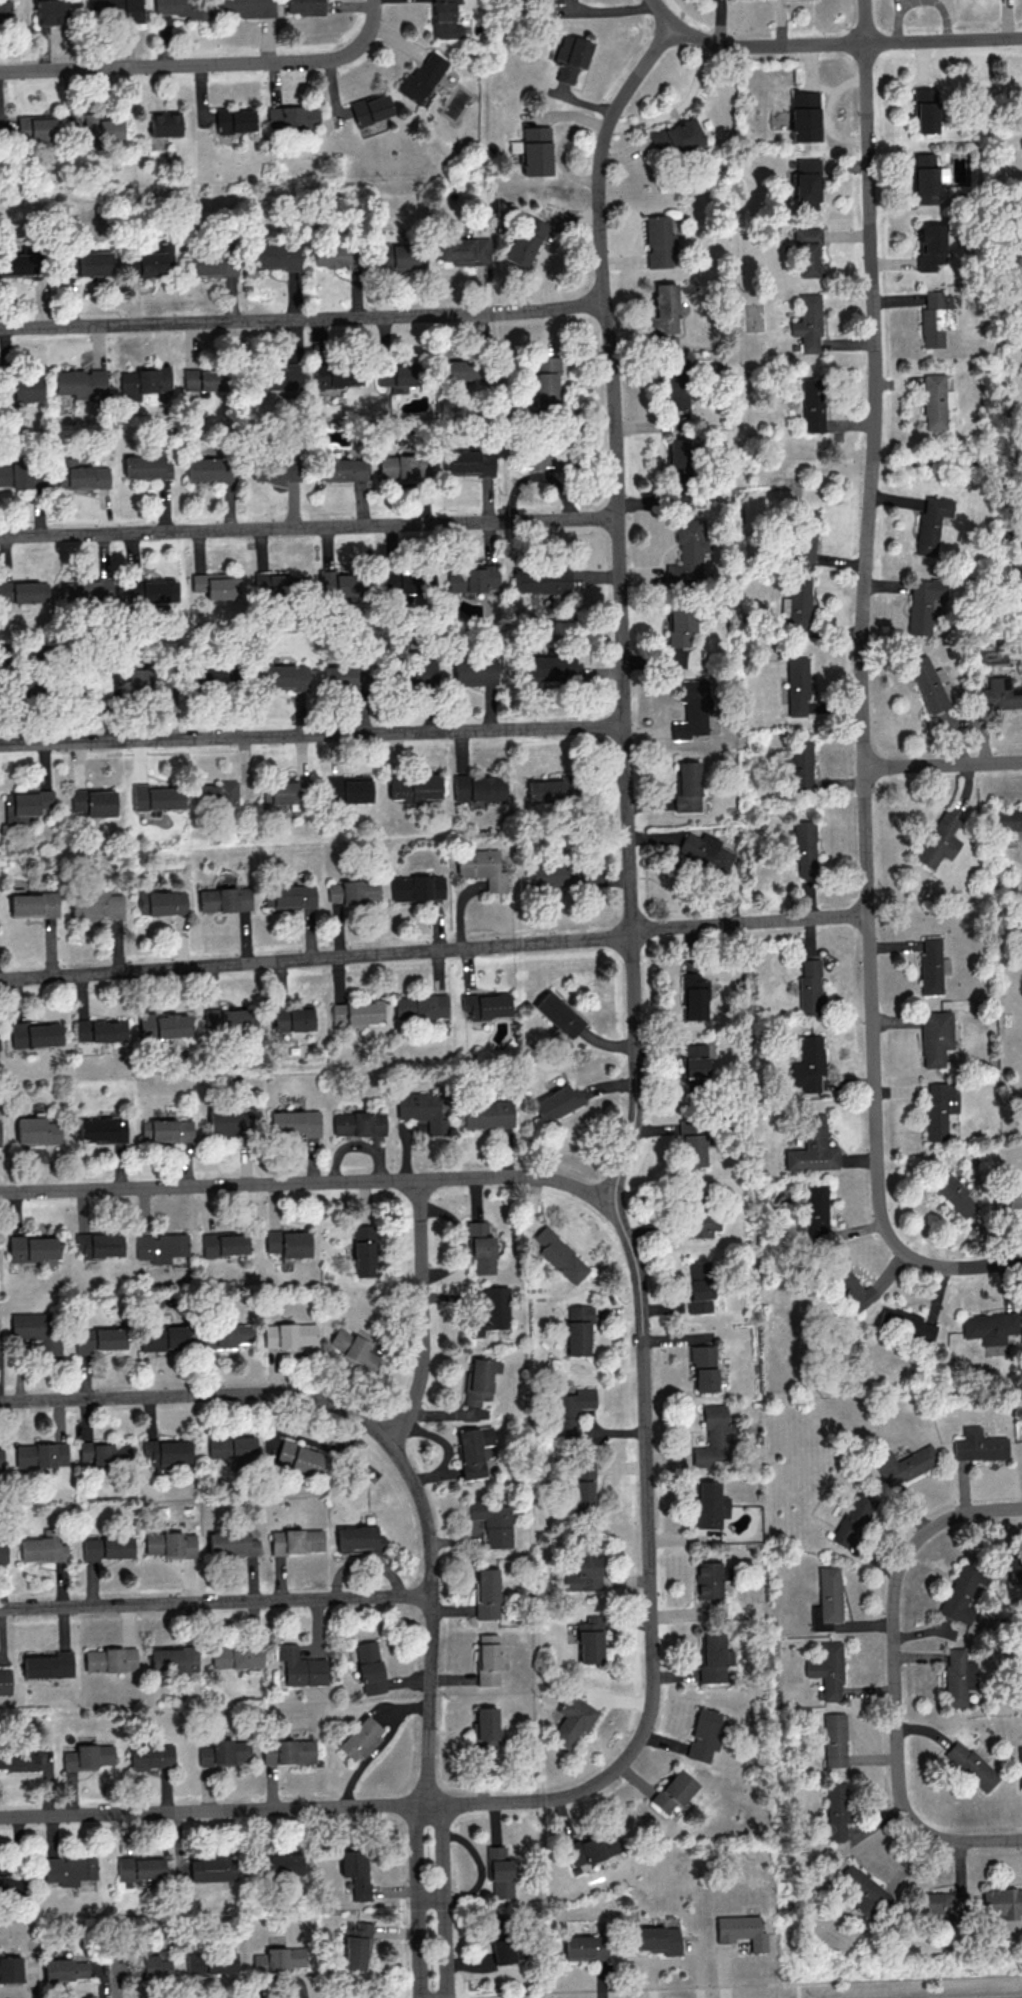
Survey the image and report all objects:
building: (304, 6)
building: (181, 8)
building: (246, 8)
building: (5, 9)
building: (116, 10)
building: (50, 12)
road: (662, 14)
building: (444, 20)
road: (847, 45)
building: (570, 57)
road: (206, 64)
building: (422, 76)
road: (678, 107)
building: (370, 108)
building: (925, 110)
building: (292, 116)
building: (803, 116)
building: (234, 120)
building: (164, 123)
building: (35, 127)
building: (101, 128)
building: (678, 136)
building: (926, 178)
building: (806, 183)
building: (524, 240)
building: (658, 242)
building: (929, 246)
building: (464, 250)
building: (806, 251)
building: (275, 256)
building: (334, 256)
building: (401, 257)
building: (152, 260)
building: (18, 263)
building: (87, 263)
building: (213, 263)
building: (664, 309)
building: (935, 318)
road: (303, 320)
building: (807, 322)
building: (454, 370)
building: (337, 375)
building: (398, 376)
building: (278, 377)
building: (203, 379)
building: (546, 379)
building: (80, 382)
building: (143, 382)
building: (676, 386)
building: (27, 388)
building: (935, 401)
building: (813, 404)
building: (678, 454)
building: (534, 457)
building: (468, 462)
building: (146, 466)
building: (405, 467)
building: (209, 468)
building: (344, 468)
building: (269, 469)
building: (83, 474)
building: (21, 475)
building: (931, 523)
road: (308, 527)
building: (804, 538)
building: (688, 548)
building: (473, 578)
building: (542, 580)
building: (277, 581)
building: (342, 583)
building: (407, 583)
building: (217, 585)
building: (149, 589)
building: (86, 590)
building: (24, 591)
building: (923, 604)
road: (621, 605)
building: (797, 607)
building: (681, 627)
building: (551, 667)
building: (475, 671)
building: (210, 672)
building: (418, 673)
building: (340, 674)
building: (284, 676)
building: (87, 679)
building: (140, 679)
building: (928, 683)
building: (797, 686)
road: (862, 690)
building: (999, 693)
building: (691, 710)
road: (313, 734)
building: (799, 765)
road: (943, 765)
building: (415, 787)
building: (477, 787)
building: (687, 787)
building: (350, 788)
building: (544, 790)
building: (217, 794)
building: (287, 795)
building: (156, 797)
building: (93, 802)
building: (26, 804)
building: (1007, 819)
building: (939, 840)
building: (804, 850)
building: (705, 851)
building: (482, 867)
building: (547, 874)
building: (417, 887)
building: (353, 890)
building: (294, 896)
building: (223, 899)
building: (165, 903)
building: (33, 904)
building: (95, 905)
road: (434, 950)
building: (930, 964)
building: (809, 986)
building: (694, 997)
building: (486, 1005)
building: (420, 1006)
building: (357, 1011)
building: (558, 1014)
building: (293, 1018)
building: (228, 1019)
building: (162, 1025)
building: (100, 1030)
building: (34, 1034)
building: (935, 1037)
building: (693, 1060)
building: (809, 1064)
building: (557, 1102)
building: (938, 1108)
building: (423, 1109)
building: (487, 1114)
building: (229, 1122)
building: (296, 1122)
building: (360, 1123)
building: (103, 1129)
building: (37, 1130)
building: (145, 1130)
building: (171, 1130)
building: (691, 1140)
building: (813, 1147)
road: (305, 1183)
building: (954, 1193)
building: (1008, 1197)
building: (816, 1210)
building: (702, 1223)
building: (289, 1242)
building: (225, 1243)
building: (100, 1245)
building: (33, 1247)
building: (161, 1247)
building: (481, 1247)
building: (365, 1250)
building: (560, 1255)
building: (699, 1285)
building: (849, 1287)
building: (492, 1311)
road: (423, 1315)
building: (905, 1323)
building: (990, 1327)
building: (579, 1329)
building: (38, 1330)
building: (291, 1334)
building: (228, 1335)
building: (164, 1338)
building: (100, 1339)
building: (353, 1348)
building: (704, 1367)
building: (481, 1380)
road: (200, 1393)
building: (571, 1412)
building: (713, 1436)
building: (979, 1445)
building: (232, 1447)
building: (473, 1450)
building: (168, 1451)
building: (106, 1453)
building: (42, 1454)
building: (1, 1458)
building: (303, 1458)
building: (905, 1464)
building: (583, 1486)
building: (710, 1505)
building: (854, 1519)
building: (494, 1521)
building: (360, 1539)
building: (297, 1540)
building: (233, 1543)
building: (172, 1544)
building: (108, 1547)
building: (43, 1549)
building: (3, 1551)
building: (586, 1568)
building: (1015, 1568)
building: (708, 1579)
building: (487, 1593)
building: (828, 1599)
road: (216, 1602)
road: (432, 1616)
building: (591, 1640)
building: (237, 1656)
building: (713, 1658)
building: (111, 1659)
building: (174, 1659)
building: (488, 1659)
building: (48, 1664)
building: (302, 1667)
building: (370, 1667)
building: (829, 1669)
building: (959, 1677)
road: (897, 1680)
building: (5, 1681)
building: (572, 1720)
building: (486, 1727)
building: (705, 1734)
building: (361, 1738)
building: (835, 1739)
building: (225, 1752)
building: (291, 1752)
building: (88, 1756)
building: (151, 1756)
building: (19, 1759)
building: (971, 1765)
building: (1020, 1765)
road: (600, 1779)
building: (674, 1791)
building: (837, 1811)
building: (595, 1847)
building: (285, 1864)
building: (213, 1868)
building: (69, 1869)
building: (141, 1869)
building: (499, 1870)
building: (356, 1871)
building: (5, 1885)
building: (862, 1890)
road: (418, 1899)
road: (441, 1899)
building: (940, 1902)
building: (1002, 1902)
building: (496, 1921)
building: (742, 1931)
building: (659, 1939)
building: (357, 1944)
building: (587, 1947)
building: (507, 1951)
building: (280, 1958)
building: (211, 1962)
building: (157, 1964)
building: (136, 1966)
building: (10, 1968)
building: (72, 1968)
road: (742, 1983)
road: (798, 1990)

